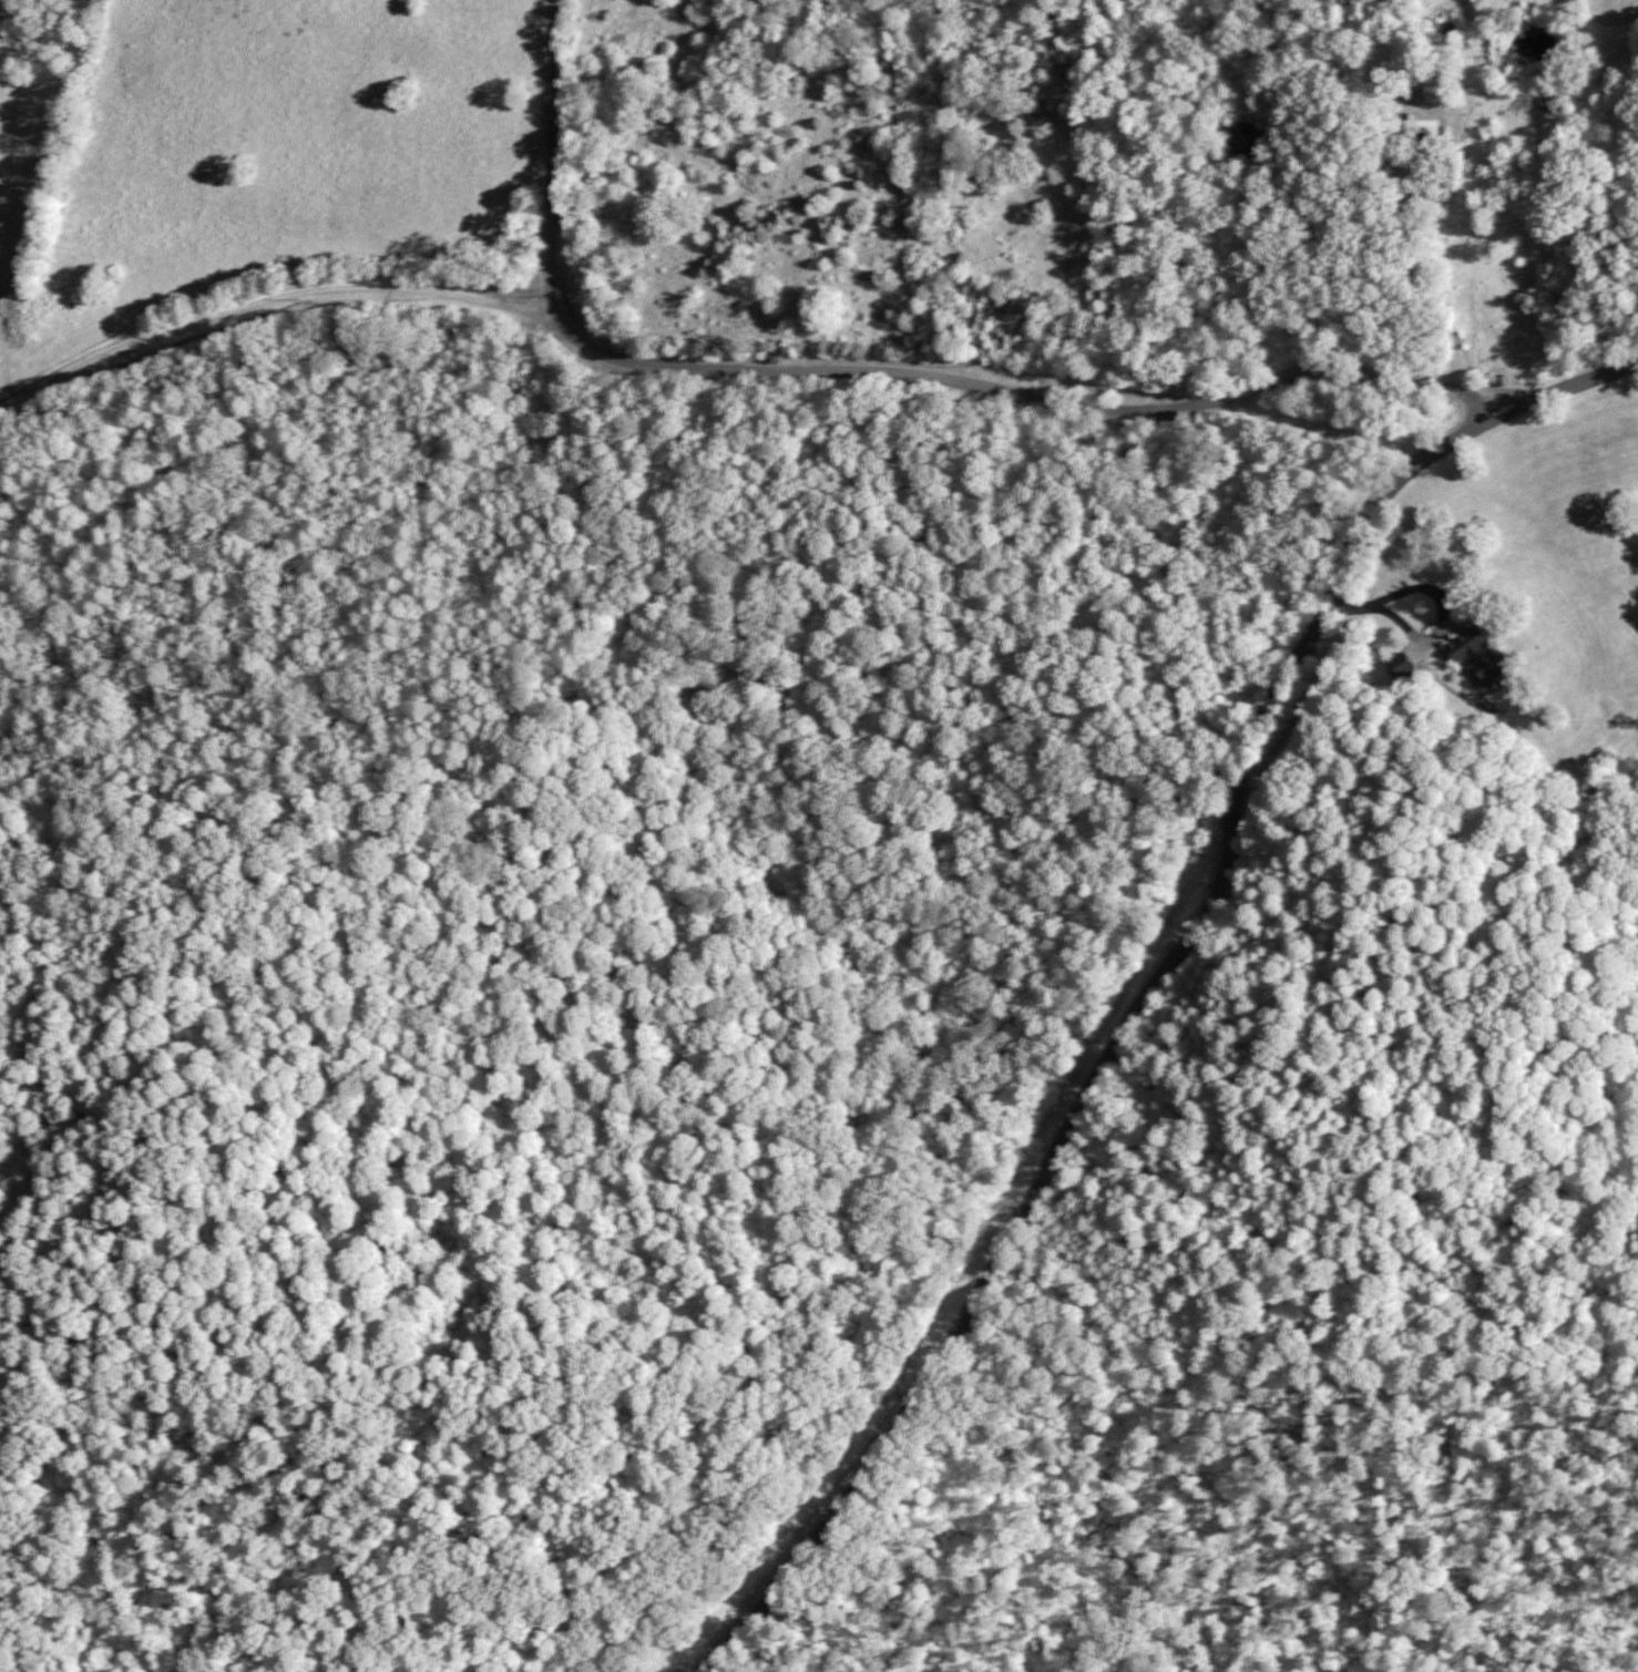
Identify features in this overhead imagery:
building: (1544, 101)
building: (1419, 126)
building: (1241, 137)
road: (554, 161)
road: (746, 369)
road: (1470, 411)
building: (1475, 656)
road: (1166, 978)

